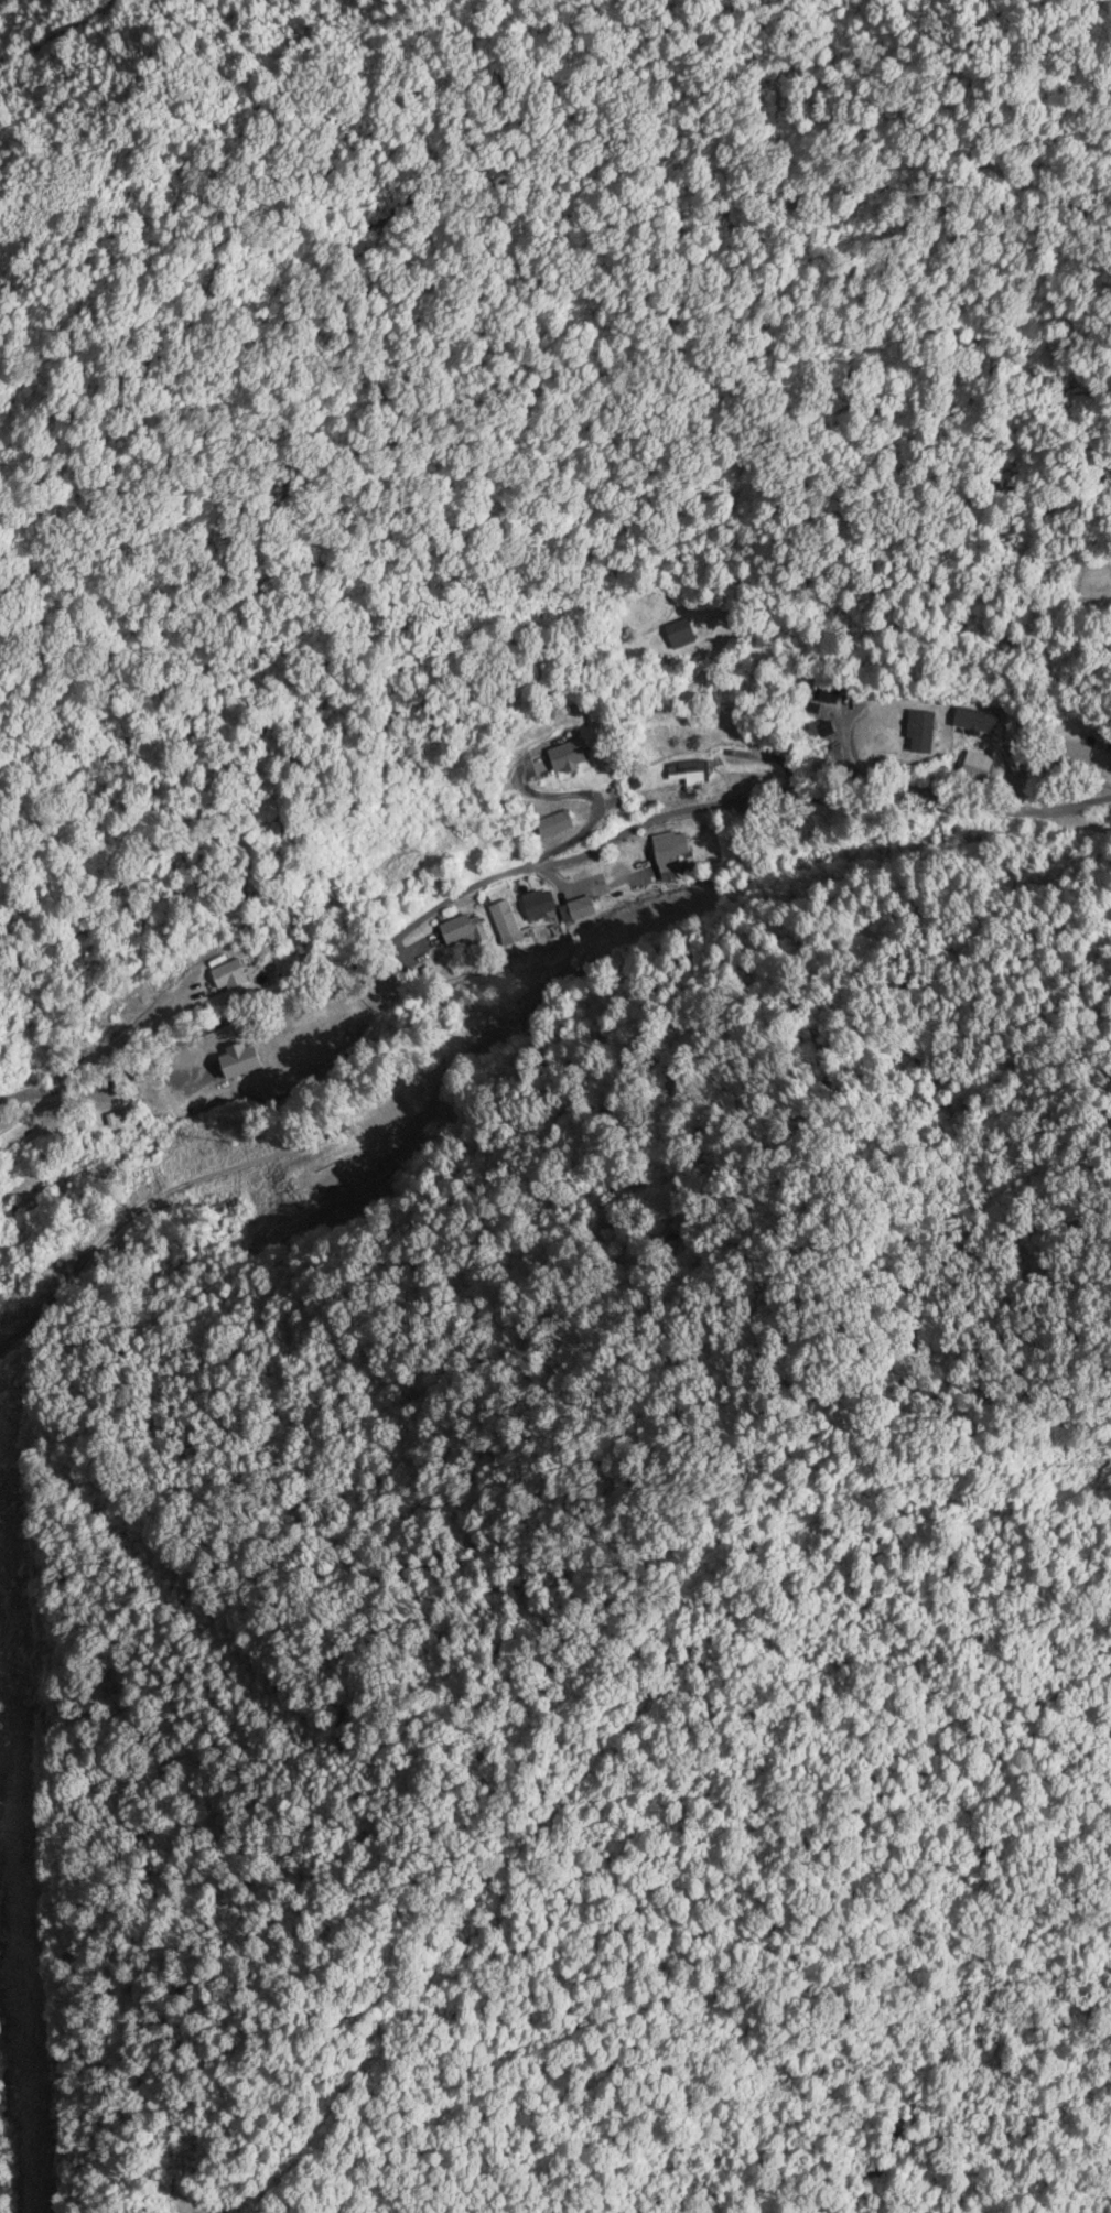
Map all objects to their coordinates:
building: (683, 635)
building: (573, 757)
building: (692, 774)
building: (559, 825)
building: (672, 853)
road: (537, 863)
building: (540, 906)
building: (578, 911)
building: (505, 921)
building: (463, 932)
building: (230, 975)
road: (379, 1028)
building: (319, 1035)
building: (430, 1110)

